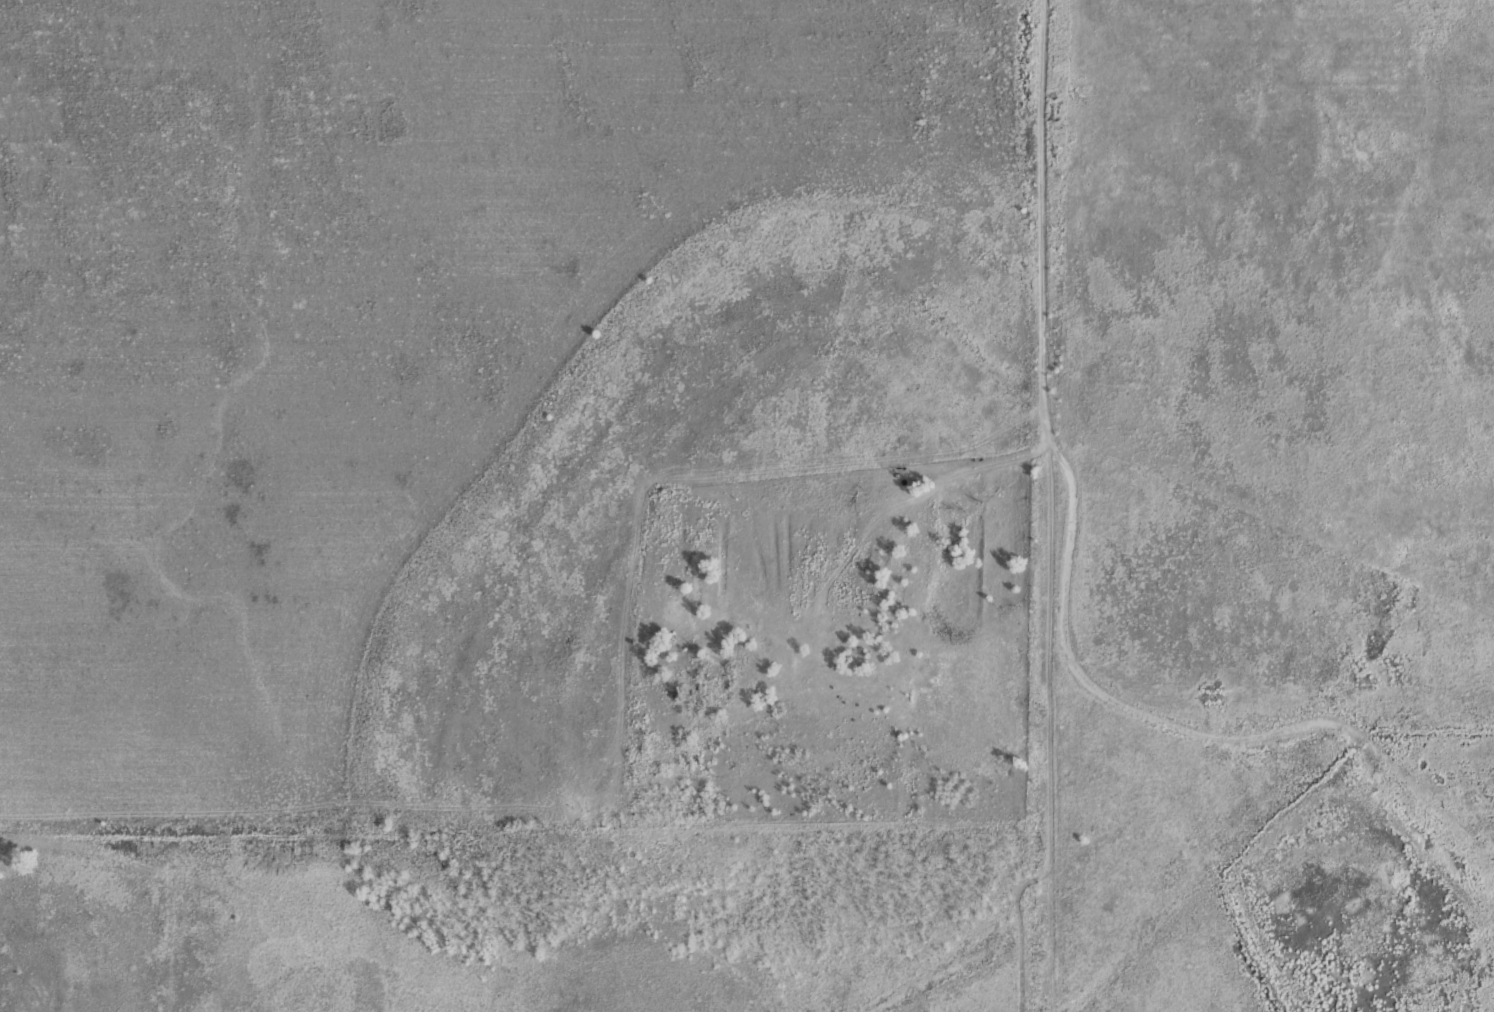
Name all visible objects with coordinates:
road: (1039, 506)

